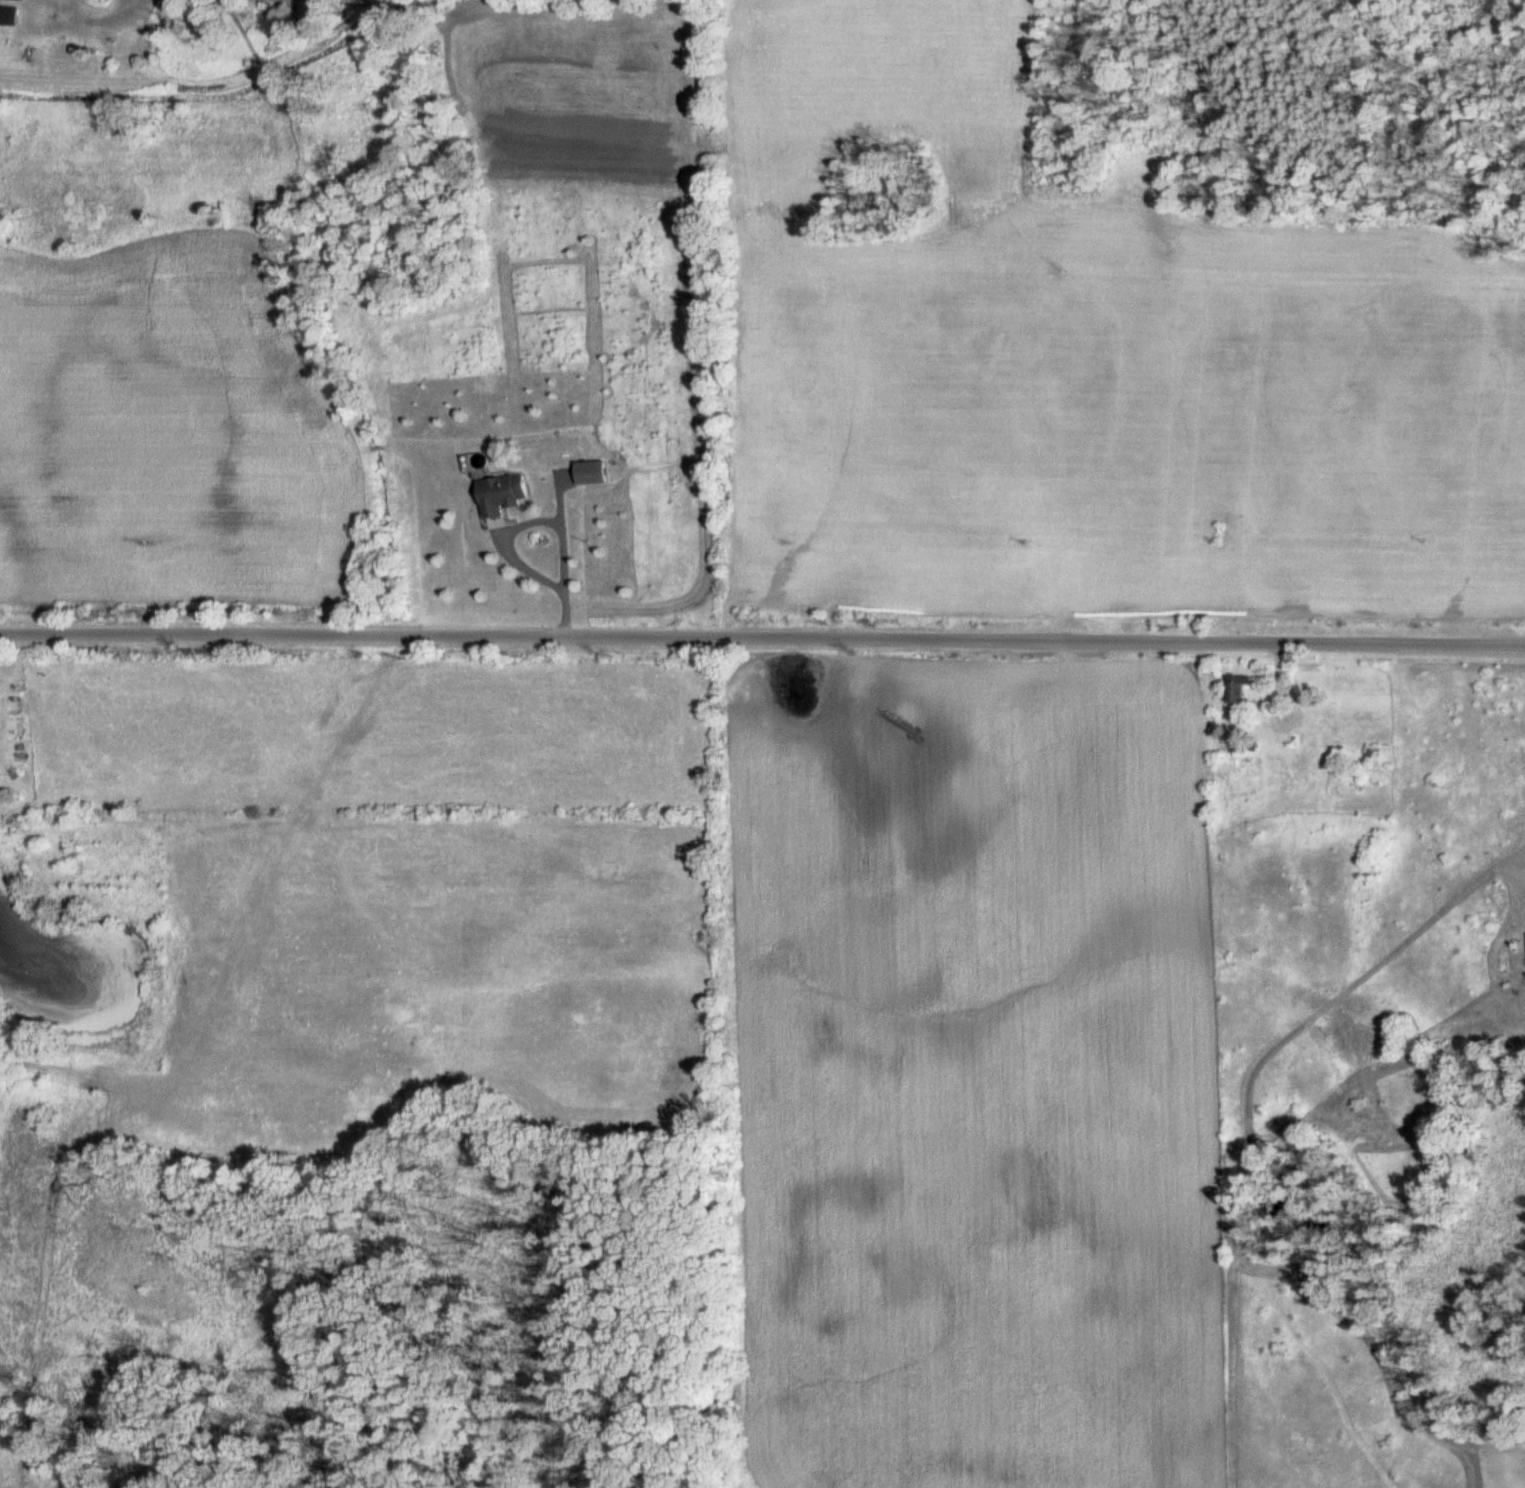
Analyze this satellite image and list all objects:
building: (6, 15)
building: (584, 472)
building: (495, 494)
road: (505, 538)
road: (762, 640)
building: (1234, 689)

